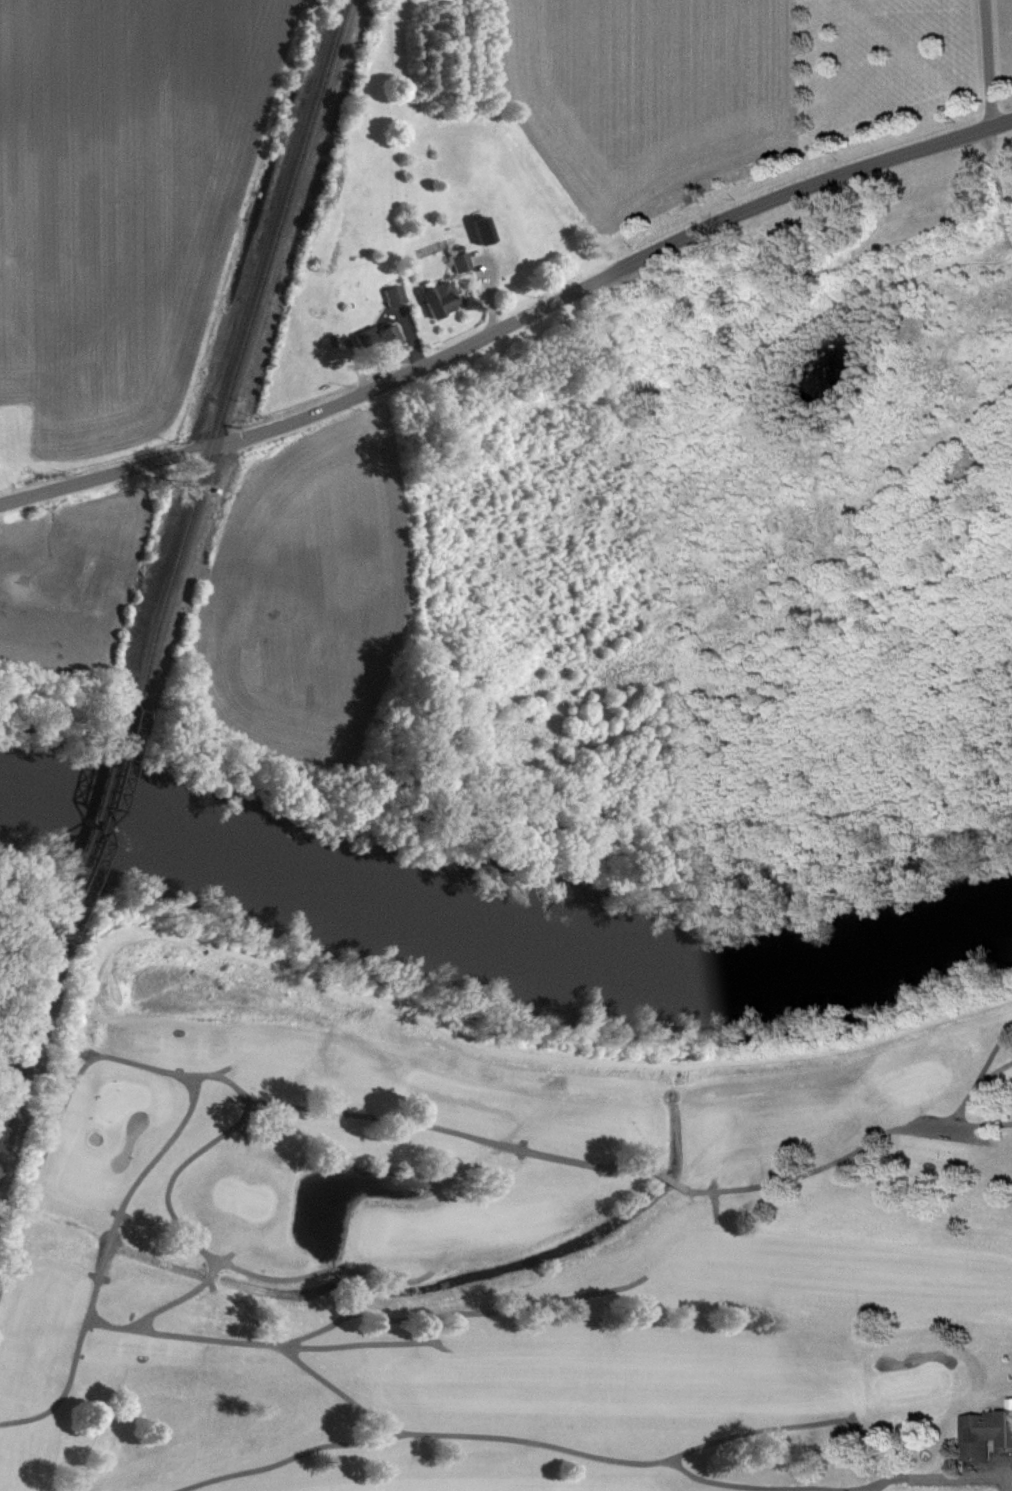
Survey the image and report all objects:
road: (988, 63)
crop: (129, 202)
building: (486, 238)
building: (464, 270)
building: (398, 303)
building: (443, 307)
road: (511, 327)
building: (381, 345)
railway: (241, 346)
railway: (97, 824)
river: (501, 936)
railway: (28, 1050)
park: (919, 1092)
park: (124, 1109)
park: (247, 1207)
park: (513, 1271)
park: (915, 1393)
building: (985, 1432)

